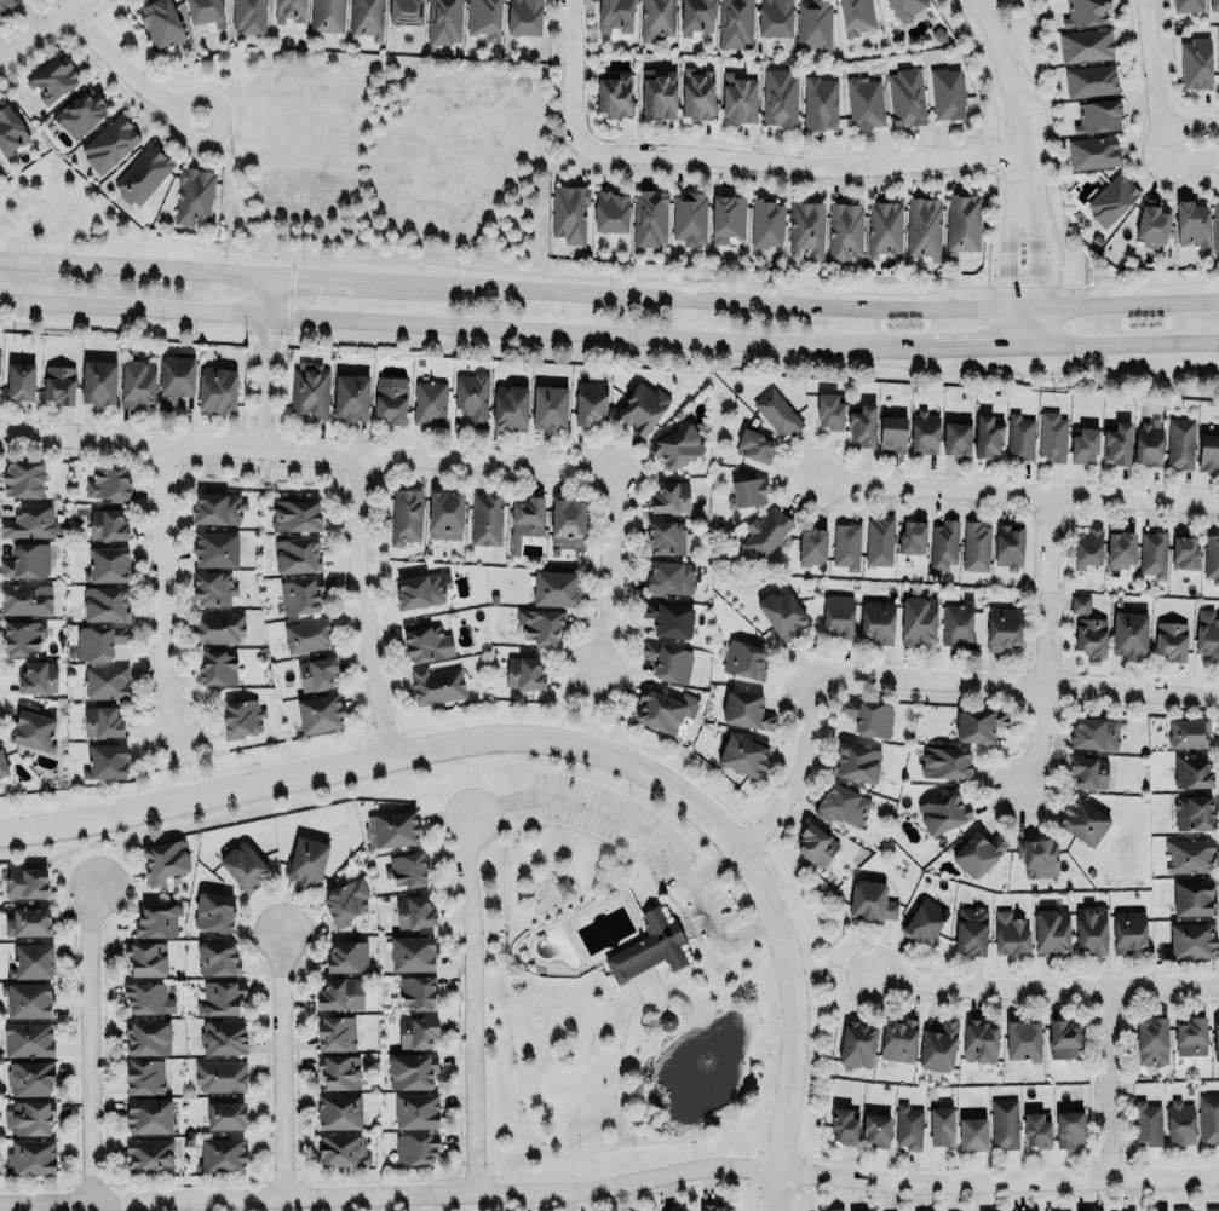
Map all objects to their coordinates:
building: (5, 4)
building: (1186, 4)
building: (1213, 5)
building: (904, 7)
building: (289, 10)
building: (205, 11)
building: (406, 11)
building: (1083, 11)
building: (321, 13)
building: (614, 15)
building: (856, 15)
building: (248, 16)
building: (524, 16)
building: (696, 16)
building: (774, 17)
building: (366, 18)
building: (484, 18)
building: (656, 19)
building: (161, 22)
building: (439, 22)
building: (735, 23)
building: (815, 23)
road: (38, 29)
building: (1085, 45)
building: (1195, 62)
road: (126, 71)
road: (570, 73)
road: (1001, 73)
building: (51, 79)
building: (1088, 79)
road: (1150, 79)
building: (1218, 79)
building: (660, 92)
building: (697, 92)
building: (948, 92)
building: (613, 94)
building: (738, 96)
building: (780, 96)
building: (905, 97)
building: (864, 102)
building: (820, 103)
building: (80, 110)
building: (1098, 114)
road: (1188, 126)
building: (10, 129)
building: (109, 142)
building: (1093, 150)
road: (1189, 157)
road: (798, 165)
building: (143, 173)
road: (234, 192)
building: (192, 194)
building: (1111, 197)
building: (610, 211)
building: (569, 213)
building: (689, 214)
building: (649, 215)
building: (728, 217)
building: (962, 220)
building: (1152, 221)
building: (1191, 221)
building: (766, 223)
building: (924, 225)
building: (1215, 226)
building: (806, 227)
building: (884, 227)
building: (843, 229)
road: (1033, 246)
road: (1006, 247)
road: (609, 295)
road: (415, 322)
road: (1128, 342)
road: (936, 347)
road: (268, 363)
building: (176, 377)
building: (19, 380)
building: (57, 380)
building: (98, 380)
building: (134, 380)
building: (310, 387)
building: (217, 388)
building: (351, 396)
building: (472, 397)
building: (390, 398)
building: (590, 400)
building: (430, 402)
building: (548, 405)
building: (508, 406)
building: (642, 406)
building: (829, 410)
building: (776, 413)
building: (862, 425)
building: (924, 431)
building: (891, 433)
building: (987, 433)
building: (1020, 434)
building: (1053, 436)
building: (956, 437)
building: (1180, 442)
building: (1083, 443)
building: (1117, 443)
building: (1148, 443)
building: (675, 444)
building: (753, 444)
building: (1208, 450)
road: (306, 451)
building: (22, 475)
building: (108, 480)
building: (747, 491)
road: (1018, 491)
building: (669, 497)
building: (217, 506)
building: (403, 513)
building: (295, 514)
building: (444, 514)
building: (483, 517)
building: (29, 520)
building: (524, 520)
building: (567, 520)
building: (107, 523)
building: (765, 531)
building: (665, 535)
building: (912, 535)
building: (879, 540)
building: (943, 543)
building: (214, 544)
building: (811, 544)
building: (845, 546)
building: (974, 546)
building: (1008, 546)
building: (1087, 546)
building: (1121, 548)
building: (1185, 552)
building: (294, 553)
building: (1152, 553)
building: (25, 557)
building: (1211, 558)
building: (105, 561)
road: (615, 572)
building: (668, 576)
road: (162, 586)
building: (212, 587)
building: (556, 588)
building: (419, 589)
road: (1043, 589)
building: (300, 594)
building: (25, 599)
building: (105, 601)
building: (1079, 604)
road: (363, 605)
building: (781, 611)
building: (836, 615)
building: (668, 618)
building: (918, 619)
building: (876, 621)
building: (540, 623)
building: (217, 625)
building: (958, 625)
building: (1002, 627)
building: (1128, 633)
building: (22, 634)
building: (1208, 634)
building: (306, 635)
building: (1089, 635)
building: (99, 638)
building: (425, 640)
building: (1172, 640)
building: (743, 658)
building: (668, 661)
building: (217, 665)
building: (316, 673)
building: (524, 673)
building: (36, 676)
building: (105, 681)
road: (1014, 682)
building: (436, 684)
road: (591, 697)
building: (663, 708)
building: (744, 709)
building: (318, 713)
building: (868, 716)
building: (241, 717)
building: (100, 720)
road: (586, 721)
building: (978, 722)
building: (31, 725)
building: (1188, 731)
building: (1094, 732)
road: (1035, 738)
road: (568, 745)
road: (177, 751)
building: (741, 752)
building: (107, 760)
building: (856, 762)
building: (945, 762)
building: (2, 763)
building: (1191, 769)
road: (797, 771)
building: (1088, 771)
road: (195, 773)
building: (841, 803)
building: (943, 811)
building: (1192, 812)
building: (1082, 820)
building: (391, 829)
road: (645, 836)
building: (813, 842)
building: (978, 852)
road: (92, 853)
building: (1189, 854)
building: (1037, 857)
building: (165, 858)
building: (306, 859)
road: (611, 860)
road: (713, 864)
building: (243, 865)
building: (406, 869)
building: (25, 881)
building: (1192, 896)
building: (870, 900)
building: (344, 901)
road: (564, 901)
building: (214, 910)
building: (414, 911)
building: (156, 918)
building: (924, 919)
building: (29, 921)
building: (971, 929)
building: (1091, 929)
building: (1128, 930)
building: (1051, 932)
building: (1010, 933)
building: (1191, 939)
building: (648, 947)
building: (412, 953)
building: (346, 955)
building: (145, 956)
building: (217, 957)
building: (33, 959)
road: (840, 967)
road: (688, 974)
road: (1046, 987)
building: (418, 991)
building: (338, 992)
building: (146, 996)
building: (220, 997)
building: (28, 998)
road: (471, 1003)
road: (812, 1004)
road: (657, 1008)
building: (416, 1031)
building: (335, 1032)
building: (223, 1036)
building: (1191, 1036)
building: (146, 1037)
building: (28, 1038)
building: (898, 1039)
building: (1022, 1039)
building: (1062, 1039)
building: (979, 1040)
building: (1215, 1040)
building: (1151, 1042)
road: (88, 1043)
building: (857, 1043)
building: (938, 1045)
fountain: (705, 1059)
road: (743, 1059)
road: (280, 1065)
building: (410, 1069)
road: (615, 1071)
building: (338, 1072)
building: (144, 1076)
building: (220, 1076)
building: (30, 1077)
road: (1108, 1083)
building: (338, 1111)
building: (415, 1111)
building: (148, 1114)
building: (224, 1114)
building: (30, 1115)
building: (1208, 1118)
building: (843, 1121)
building: (1180, 1121)
building: (1004, 1123)
building: (1146, 1123)
building: (941, 1125)
building: (908, 1126)
building: (876, 1128)
building: (1068, 1128)
building: (1036, 1129)
road: (588, 1130)
building: (973, 1132)
building: (415, 1147)
road: (752, 1147)
building: (341, 1149)
building: (148, 1154)
building: (220, 1154)
road: (498, 1154)
building: (33, 1157)
road: (610, 1186)
building: (714, 1205)
building: (1180, 1209)
building: (1212, 1209)
building: (668, 1210)
building: (829, 1210)
building: (1065, 1210)
building: (1127, 1210)

